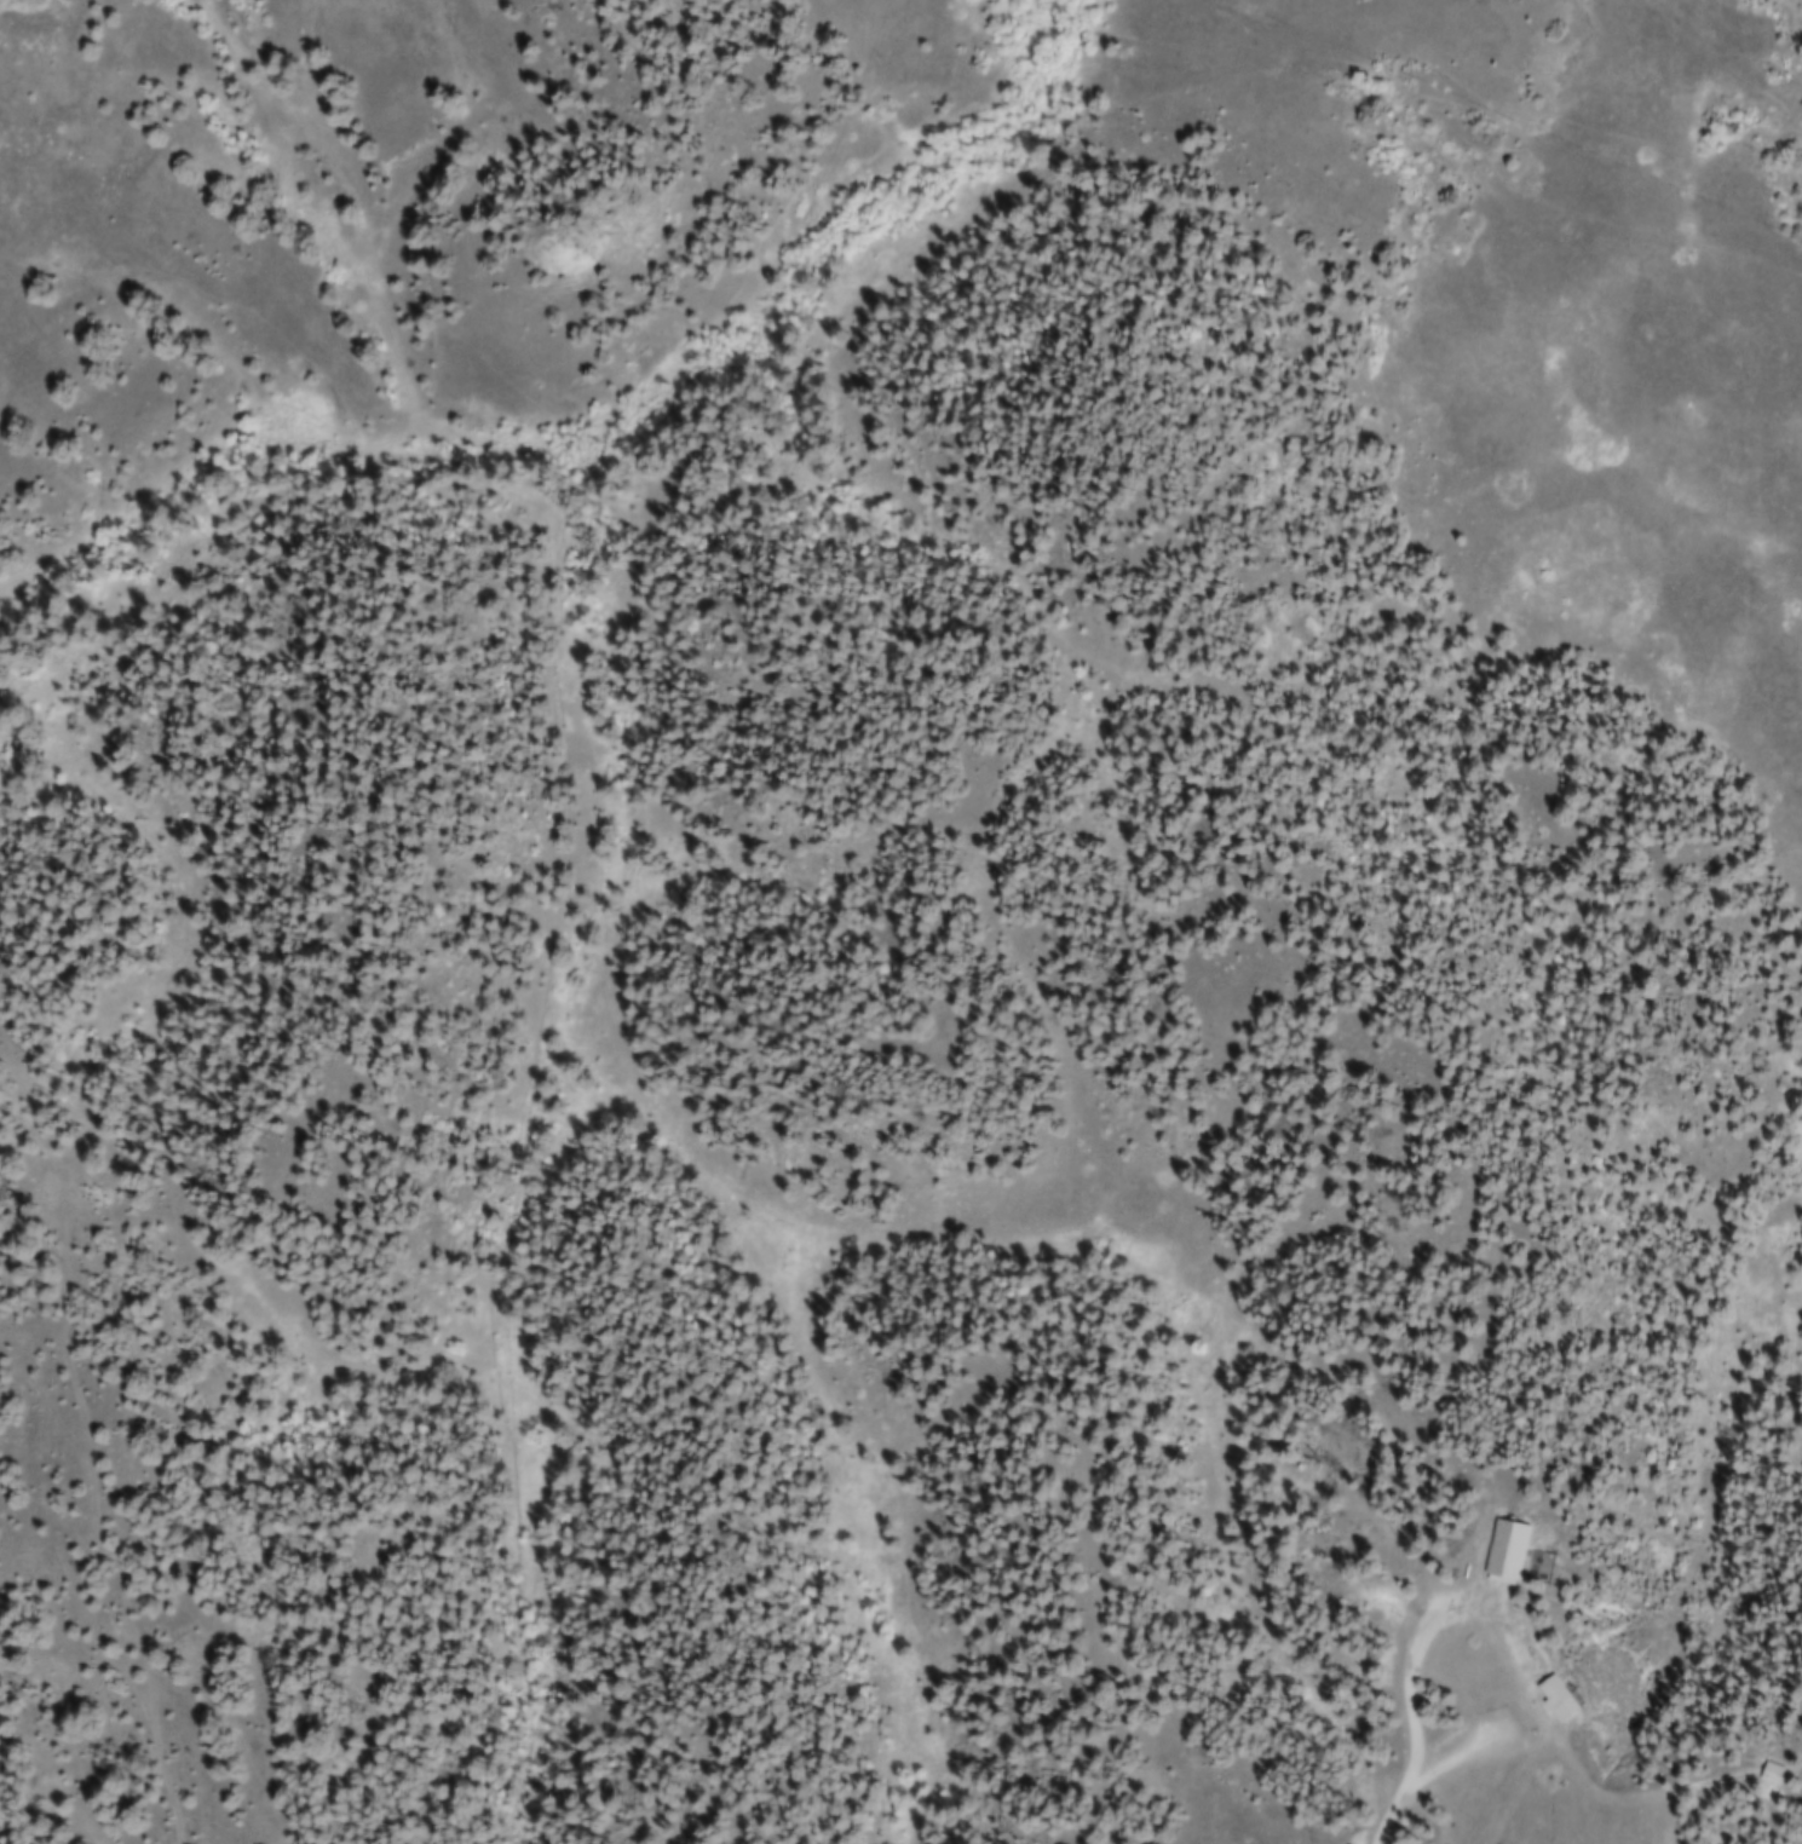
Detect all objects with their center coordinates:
building: (1509, 1551)
building: (1559, 1698)
road: (1415, 1722)
building: (1775, 1769)

